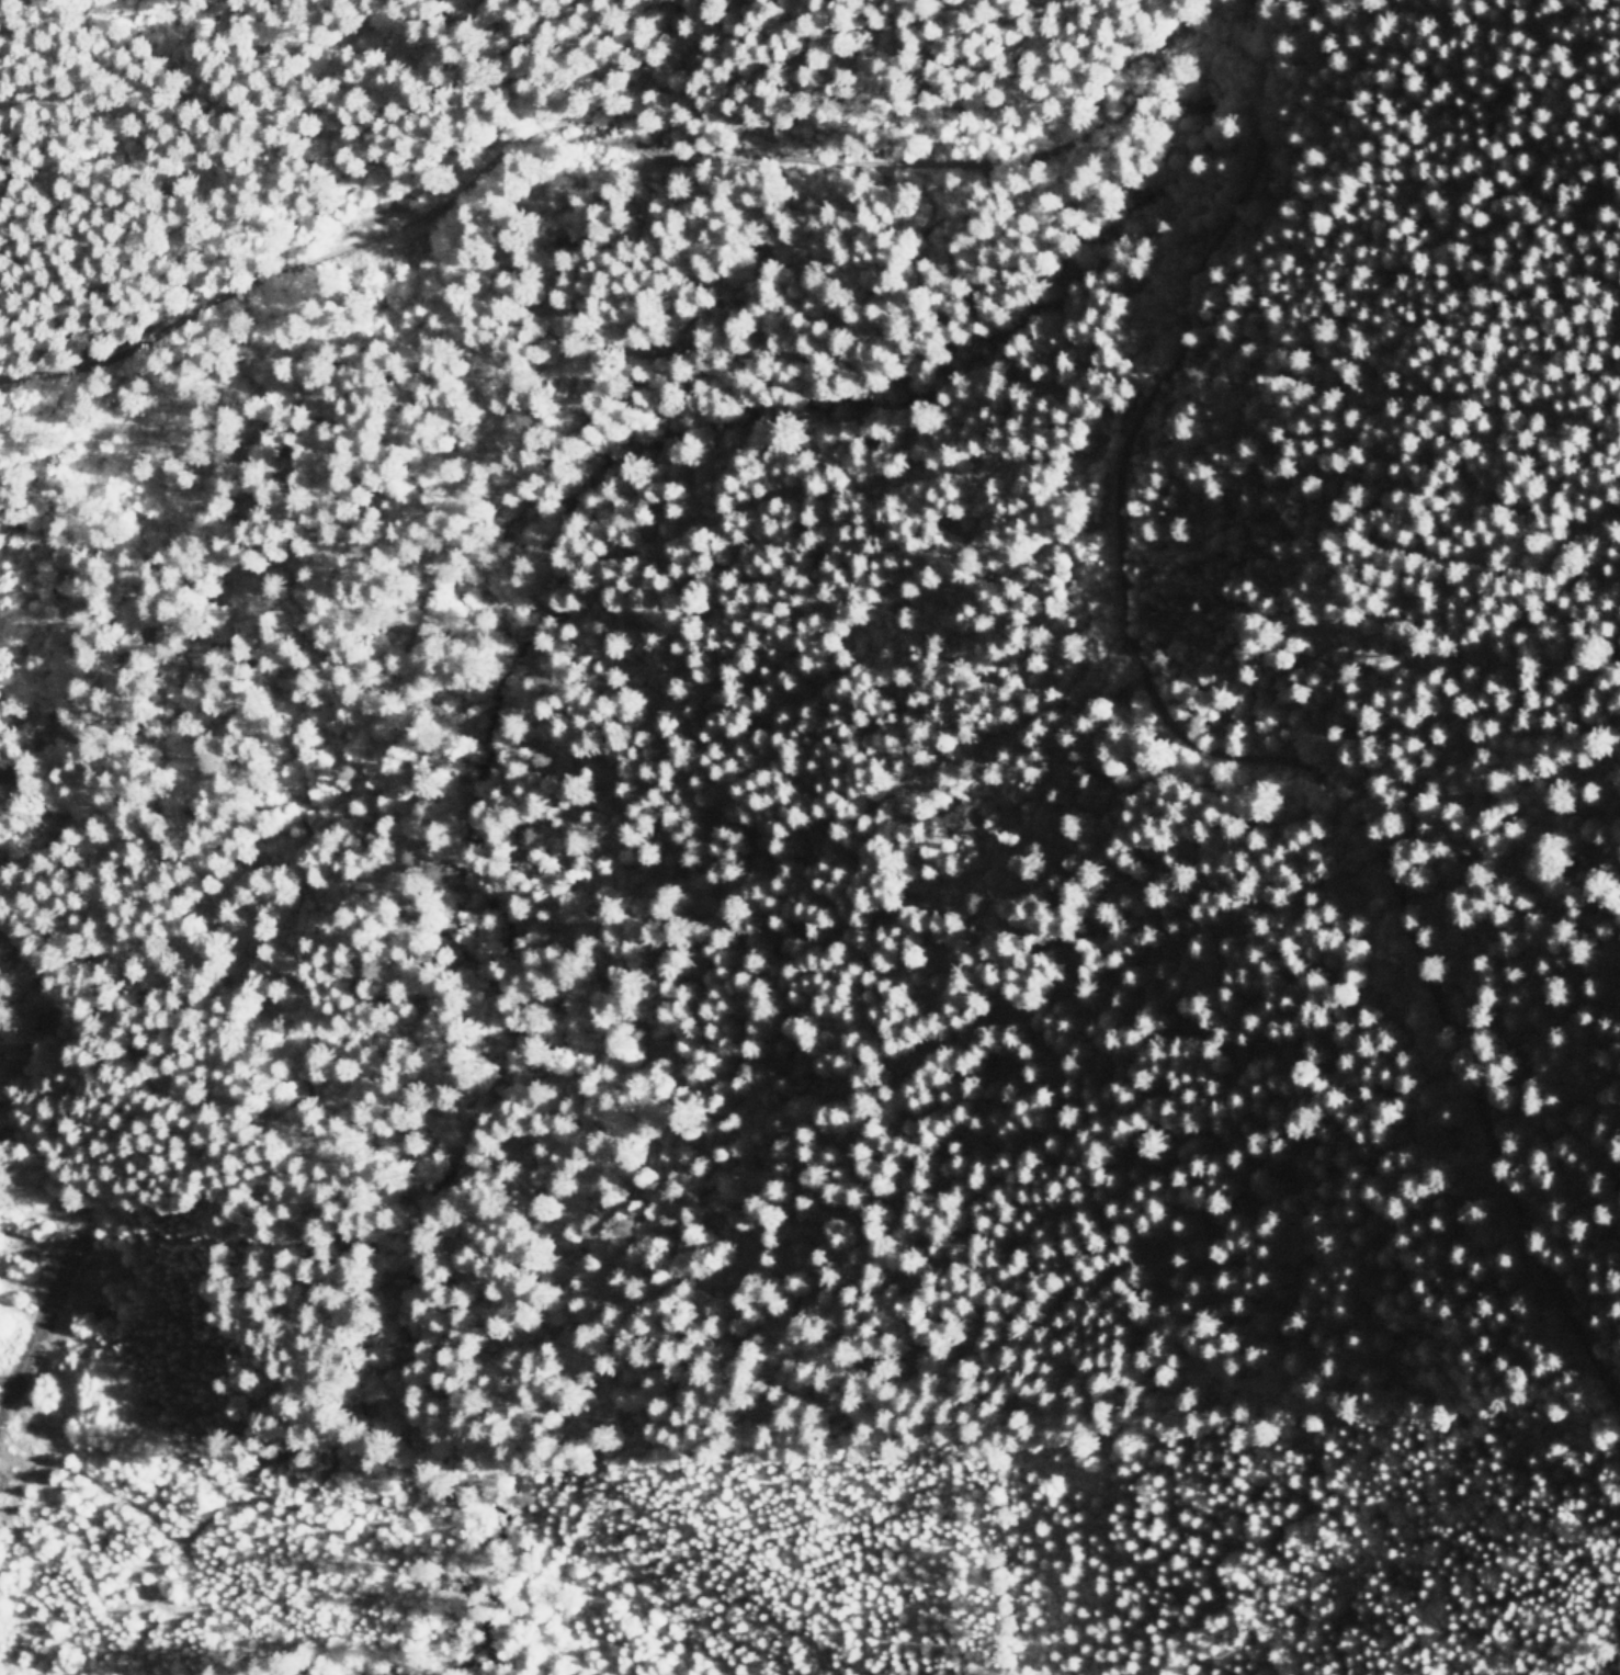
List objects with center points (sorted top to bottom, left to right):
road: (37, 1319)

